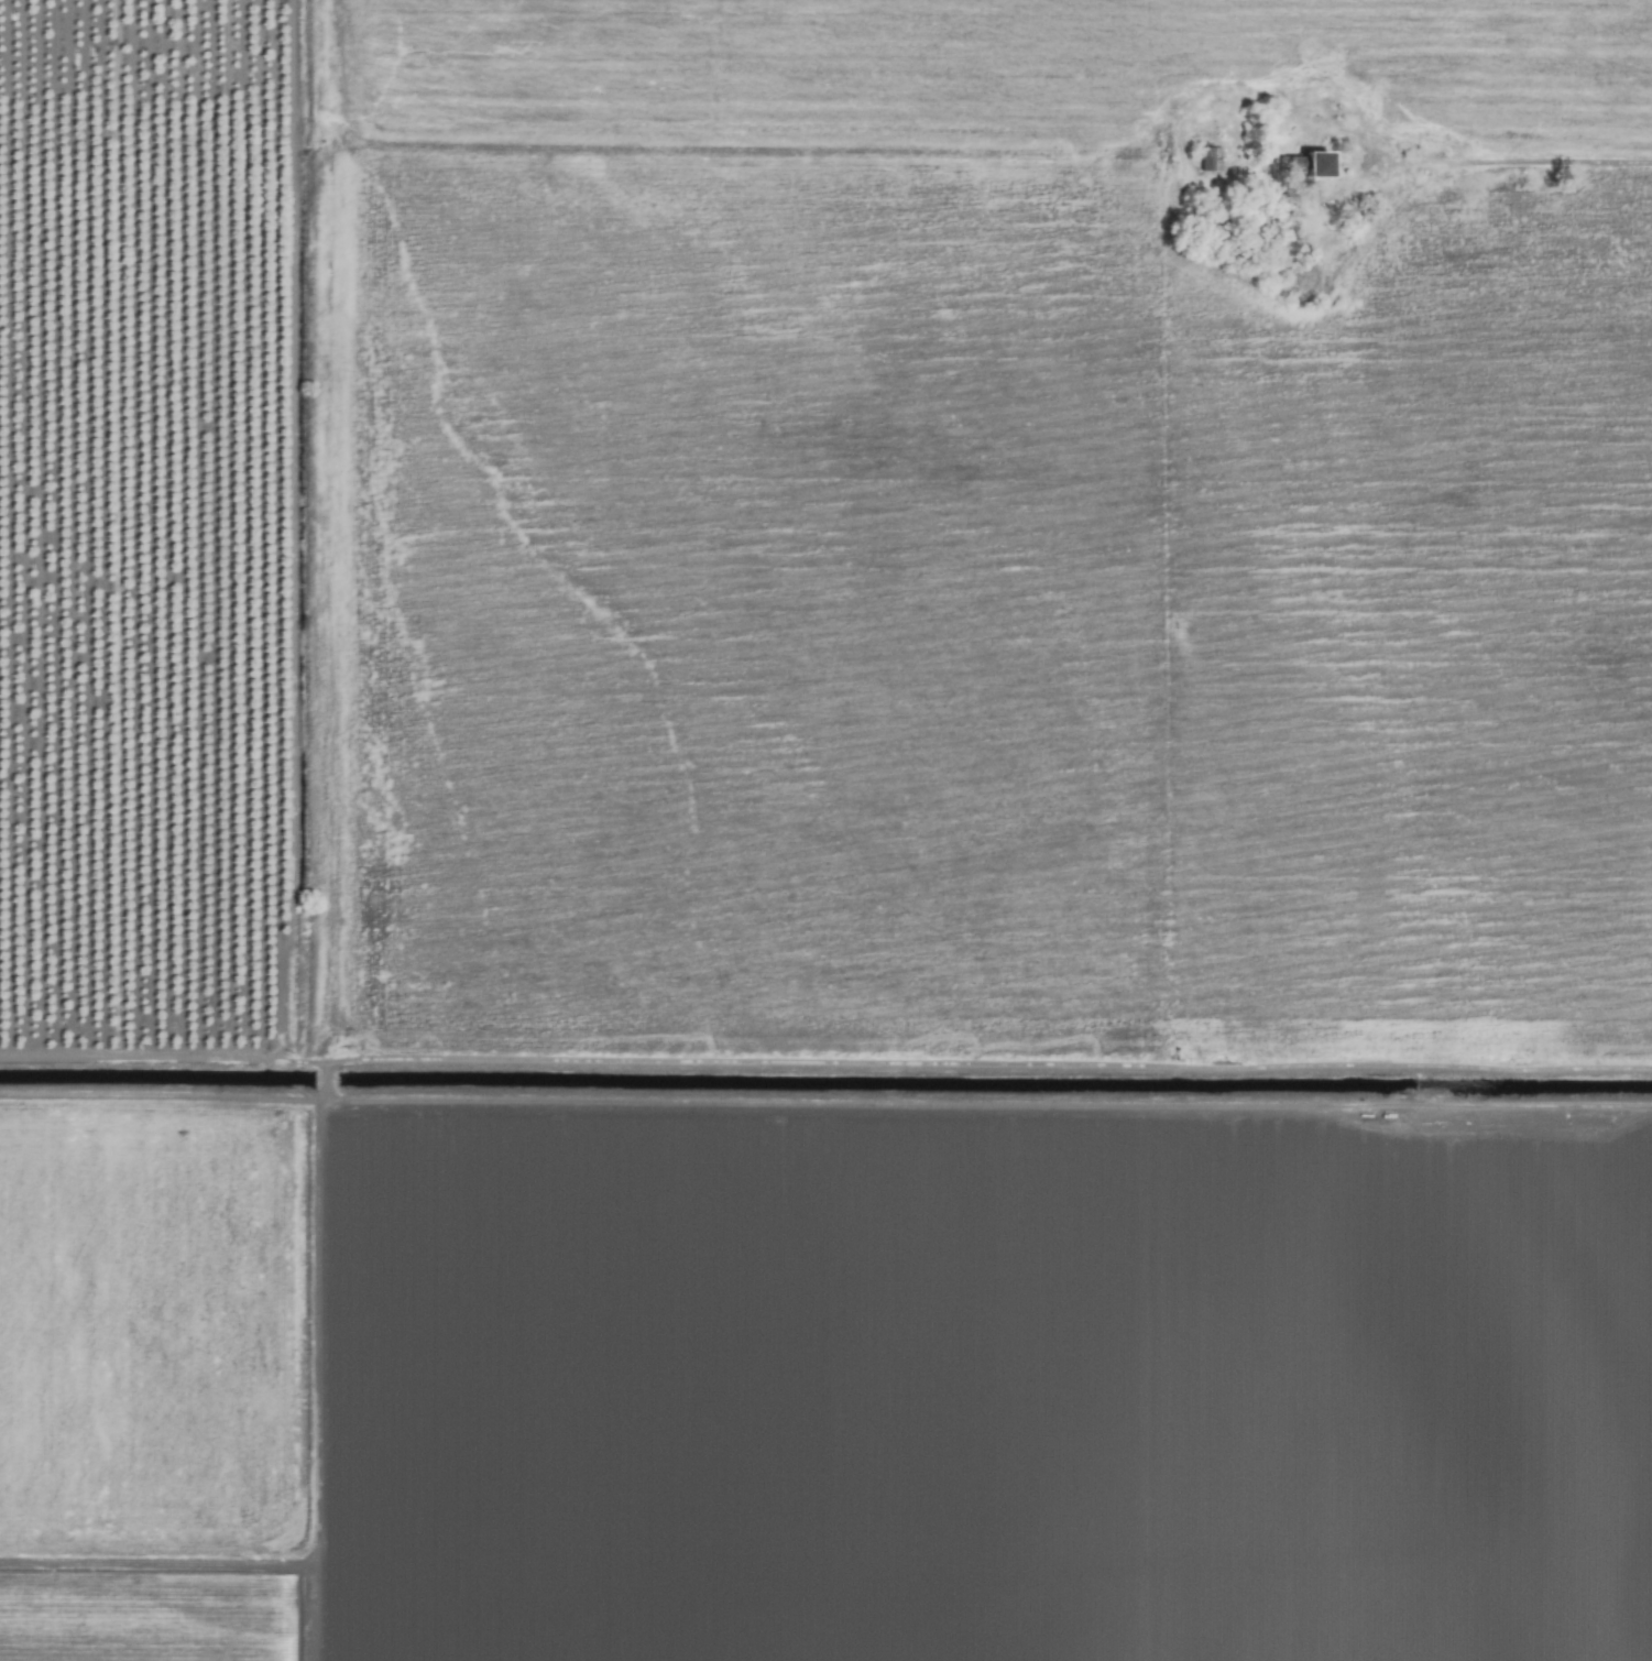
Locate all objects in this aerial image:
building: (1316, 164)
road: (1514, 166)

